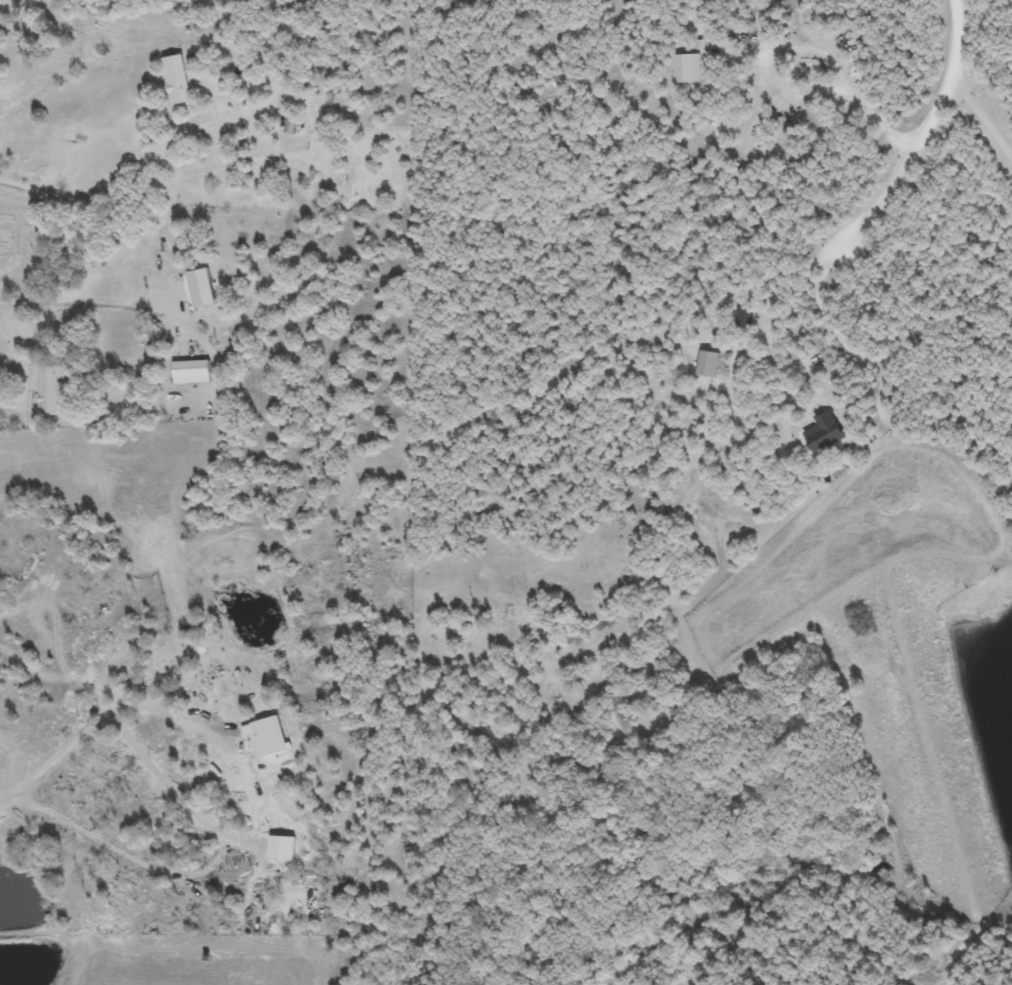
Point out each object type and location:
building: (176, 80)
road: (981, 123)
road: (874, 125)
road: (919, 134)
road: (106, 176)
road: (113, 305)
road: (778, 313)
building: (742, 318)
building: (190, 372)
building: (46, 391)
building: (823, 432)
building: (249, 689)
road: (100, 728)

